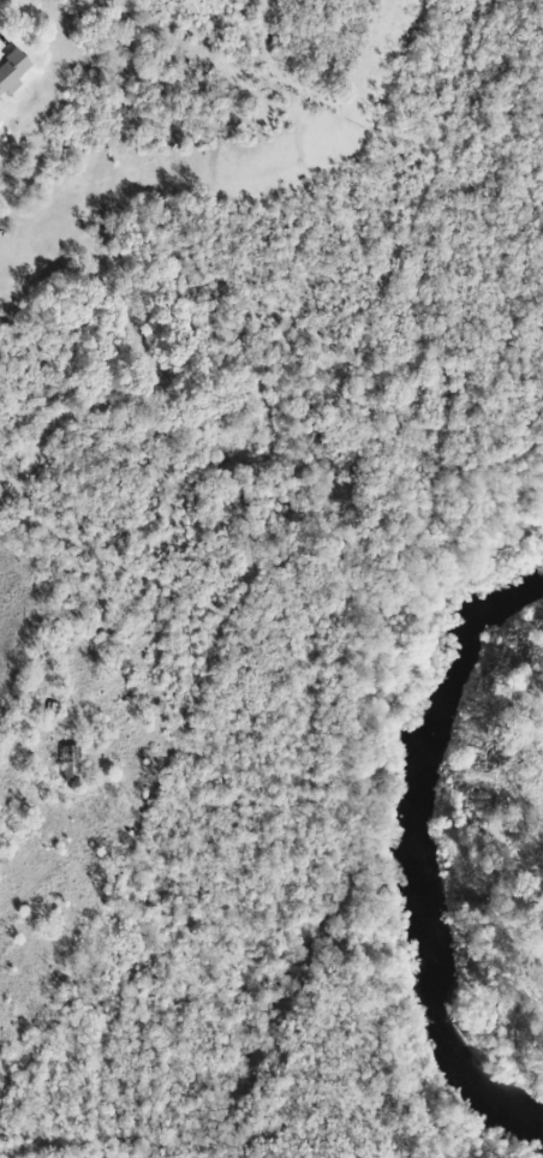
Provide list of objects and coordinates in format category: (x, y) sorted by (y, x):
building: (11, 70)
river: (419, 854)
road: (153, 1118)

